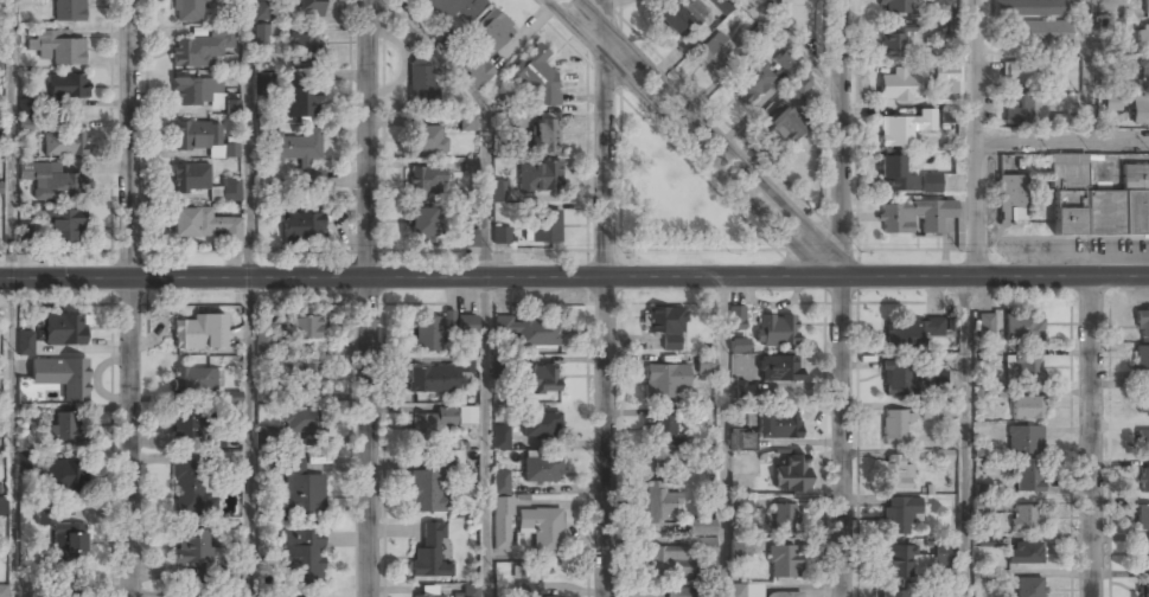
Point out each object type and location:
building: (765, 1)
building: (722, 5)
building: (894, 6)
building: (311, 7)
building: (1029, 7)
building: (1145, 7)
building: (455, 8)
building: (66, 9)
building: (189, 11)
building: (261, 11)
building: (676, 17)
building: (27, 31)
building: (492, 31)
building: (1040, 33)
building: (261, 34)
building: (1142, 38)
building: (892, 44)
road: (794, 45)
building: (55, 46)
building: (302, 47)
building: (19, 49)
building: (200, 49)
building: (715, 52)
building: (786, 64)
road: (1085, 70)
building: (480, 72)
building: (1019, 72)
building: (1144, 73)
building: (535, 76)
building: (753, 83)
building: (422, 85)
building: (798, 85)
building: (65, 86)
building: (896, 88)
building: (947, 90)
building: (197, 94)
building: (1113, 102)
building: (301, 103)
building: (231, 105)
building: (23, 107)
building: (1017, 110)
building: (1140, 111)
road: (486, 115)
building: (949, 115)
building: (1059, 122)
building: (23, 124)
building: (467, 124)
building: (786, 124)
building: (905, 128)
building: (0, 129)
road: (714, 131)
building: (193, 135)
building: (544, 135)
road: (977, 137)
road: (842, 139)
road: (248, 140)
building: (427, 140)
road: (1062, 140)
building: (63, 143)
road: (691, 143)
building: (230, 149)
building: (215, 152)
building: (302, 153)
building: (468, 163)
building: (896, 174)
building: (189, 178)
building: (538, 179)
building: (426, 181)
building: (50, 184)
building: (930, 184)
building: (229, 188)
building: (213, 193)
building: (498, 193)
building: (1010, 200)
building: (1097, 201)
building: (913, 217)
building: (202, 224)
building: (421, 224)
building: (542, 225)
building: (51, 226)
building: (302, 229)
building: (502, 236)
building: (470, 238)
road: (995, 277)
road: (420, 278)
road: (130, 297)
road: (12, 298)
road: (368, 298)
road: (605, 298)
building: (736, 317)
building: (1142, 323)
building: (665, 325)
building: (466, 326)
building: (984, 326)
building: (304, 328)
building: (1023, 328)
building: (63, 329)
building: (777, 329)
building: (432, 330)
building: (530, 330)
building: (197, 333)
building: (911, 333)
building: (262, 341)
building: (25, 342)
building: (738, 345)
building: (984, 352)
building: (1142, 358)
building: (704, 364)
building: (779, 367)
building: (1023, 367)
building: (62, 375)
building: (308, 375)
building: (194, 378)
building: (540, 378)
building: (934, 378)
building: (435, 379)
building: (895, 379)
building: (665, 381)
building: (232, 397)
building: (1143, 399)
building: (1027, 407)
building: (930, 411)
building: (302, 421)
building: (441, 421)
building: (185, 424)
building: (541, 425)
building: (663, 425)
building: (778, 425)
building: (65, 428)
building: (893, 428)
building: (263, 437)
road: (486, 437)
building: (500, 437)
road: (722, 437)
road: (841, 437)
road: (976, 437)
road: (1089, 437)
road: (249, 438)
building: (1024, 439)
building: (741, 442)
building: (1144, 443)
building: (230, 461)
building: (25, 462)
building: (541, 471)
building: (896, 473)
building: (791, 474)
building: (63, 476)
building: (1027, 477)
building: (500, 481)
building: (1143, 481)
building: (189, 489)
building: (299, 492)
building: (427, 492)
building: (660, 503)
building: (4, 506)
building: (745, 507)
building: (898, 514)
building: (784, 518)
building: (1026, 518)
building: (1142, 518)
building: (502, 525)
building: (702, 527)
building: (542, 529)
building: (70, 544)
building: (192, 547)
building: (739, 551)
building: (1024, 553)
building: (429, 556)
building: (941, 556)
building: (1144, 556)
building: (304, 558)
building: (669, 561)
building: (784, 561)
building: (902, 561)
building: (1029, 588)
building: (1144, 589)
building: (471, 590)
building: (530, 590)
building: (2, 591)
building: (62, 592)
building: (210, 592)
building: (677, 592)
building: (894, 593)
building: (780, 595)
building: (426, 596)

